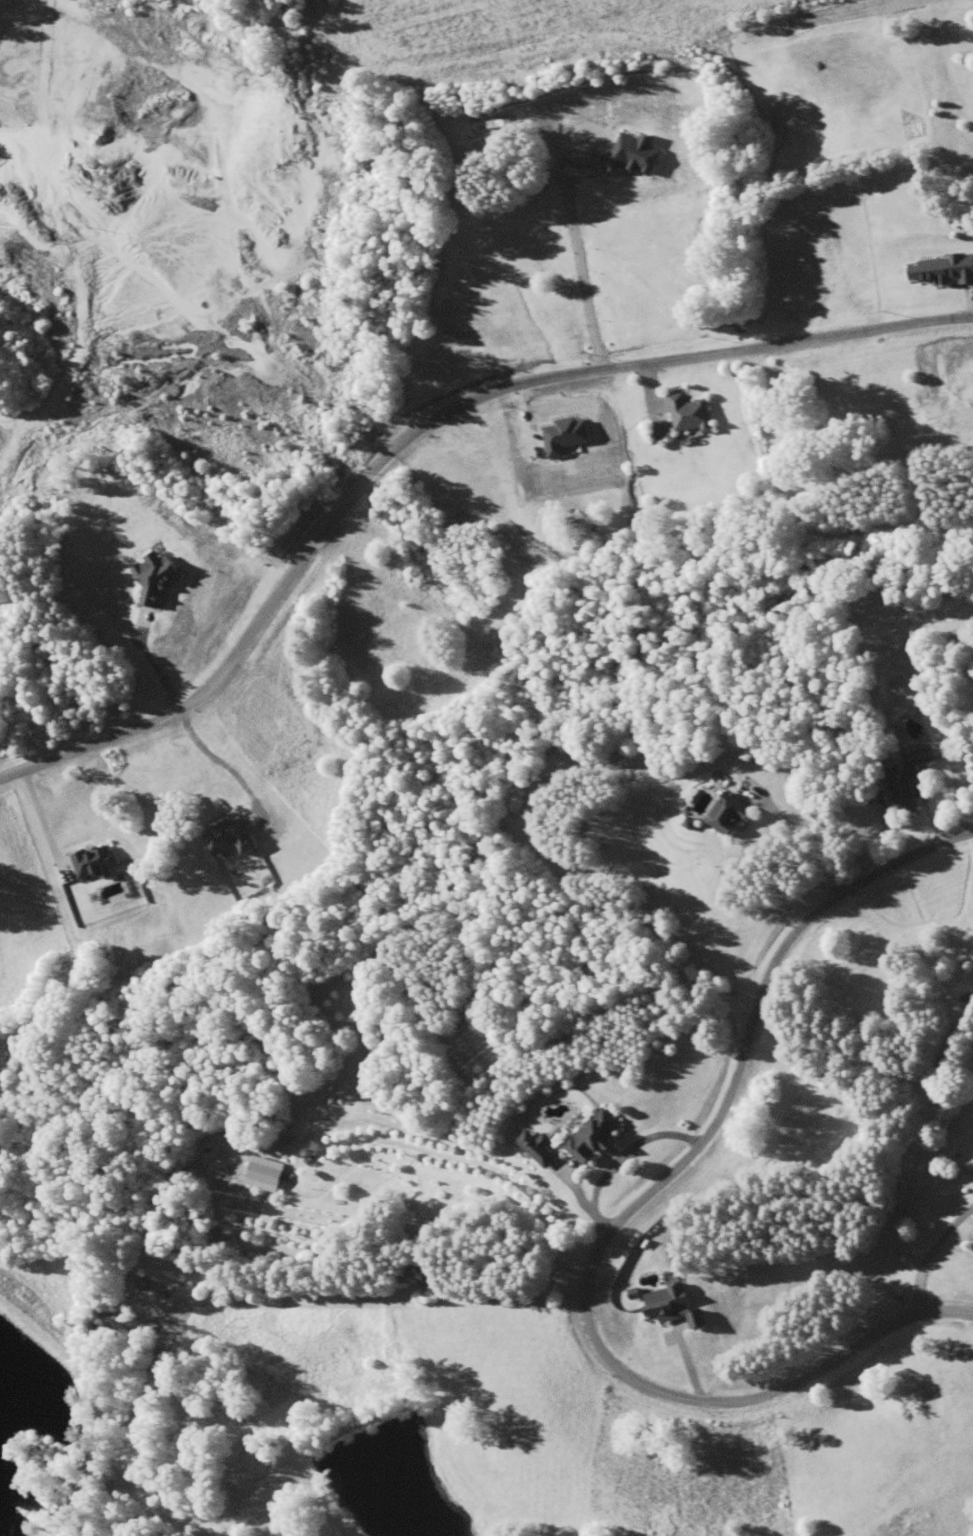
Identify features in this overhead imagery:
road: (577, 256)
building: (687, 413)
road: (418, 422)
building: (656, 431)
building: (909, 786)
building: (731, 815)
building: (595, 1136)
building: (544, 1149)
road: (619, 1222)

